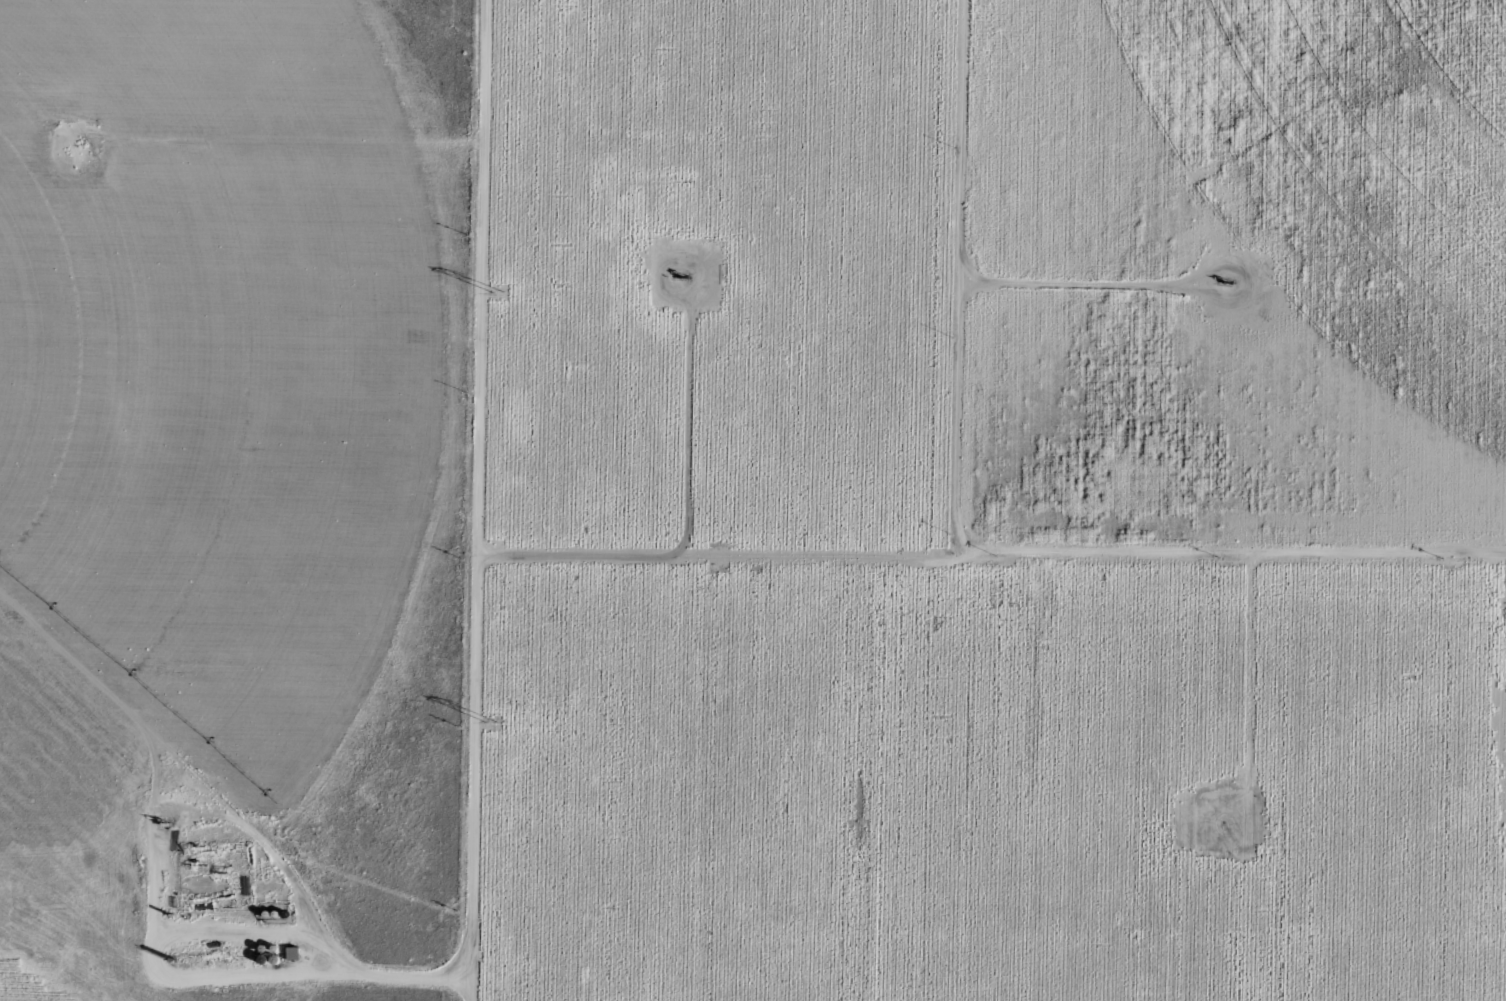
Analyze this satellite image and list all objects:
petroleum well: (685, 277)
petroleum well: (1225, 284)
power tower: (497, 291)
road: (975, 319)
road: (494, 500)
road: (1000, 555)
power tower: (492, 721)

